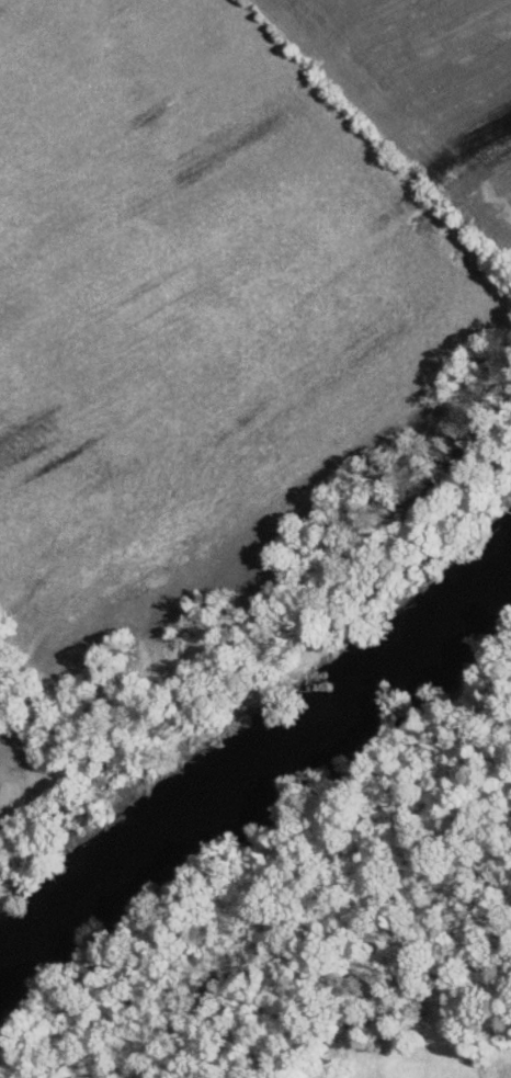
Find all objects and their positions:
river: (263, 765)

